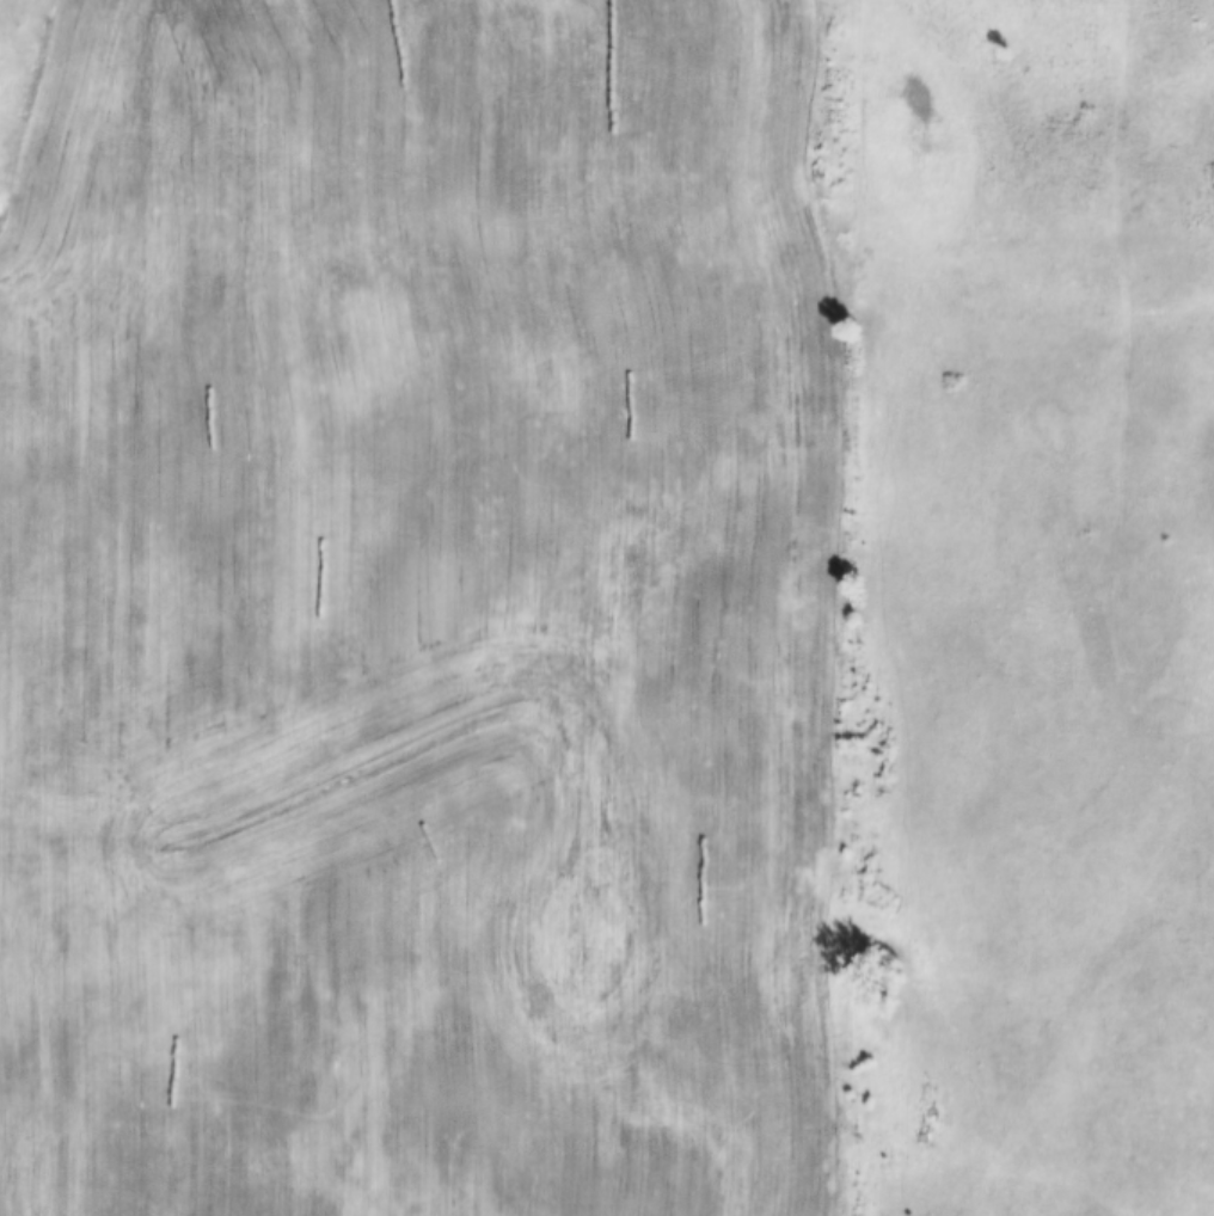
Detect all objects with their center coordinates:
building: (933, 1113)
building: (922, 1116)

